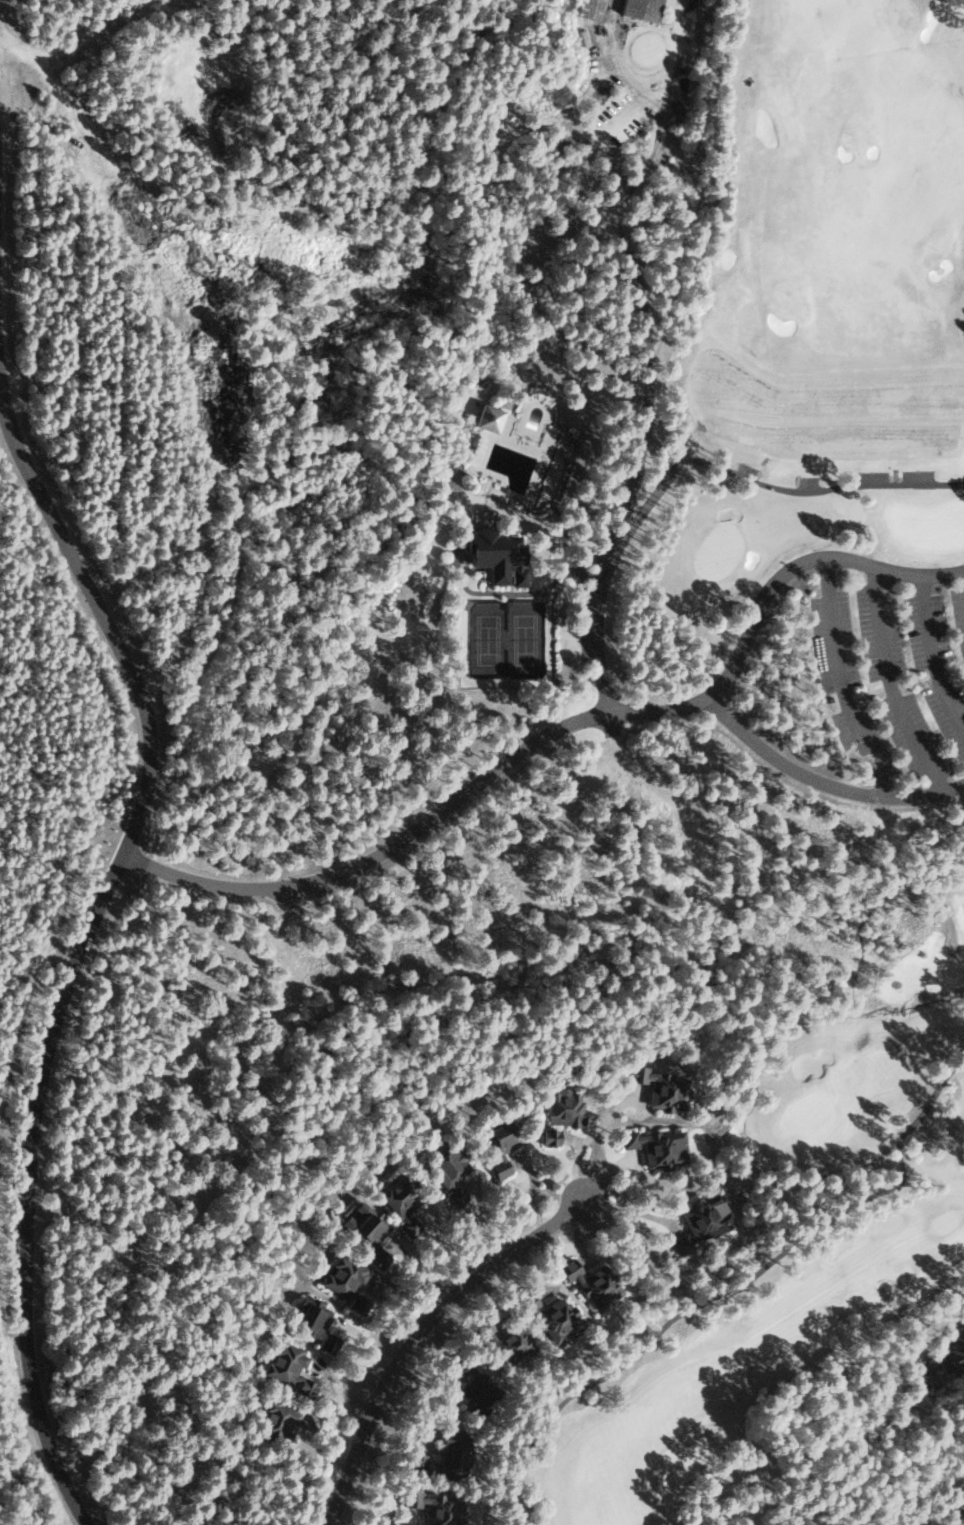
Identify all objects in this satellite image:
building: (588, 8)
building: (640, 8)
park: (775, 268)
building: (487, 418)
building: (495, 555)
park: (503, 639)
road: (554, 727)
road: (70, 955)
building: (656, 1087)
building: (562, 1106)
building: (548, 1136)
building: (499, 1142)
building: (655, 1146)
building: (447, 1171)
building: (401, 1203)
building: (701, 1220)
building: (366, 1231)
park: (791, 1241)
building: (344, 1281)
building: (590, 1281)
building: (548, 1314)
building: (312, 1321)
road: (416, 1333)
building: (503, 1340)
building: (951, 1353)
building: (286, 1366)
building: (472, 1384)
building: (280, 1420)
building: (441, 1456)
building: (957, 1506)
building: (433, 1507)

